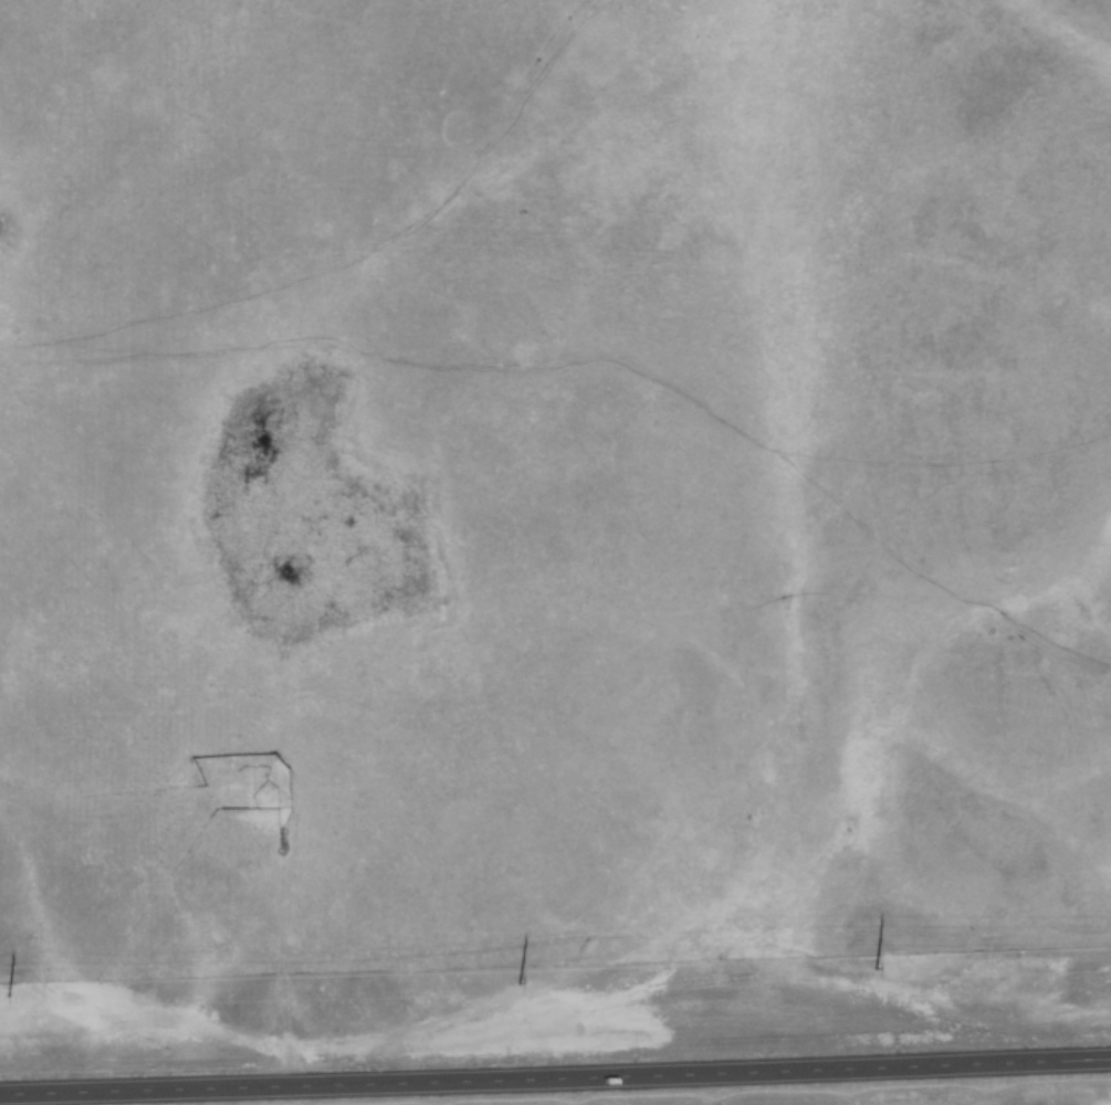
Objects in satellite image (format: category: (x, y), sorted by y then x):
power tower: (876, 967)
power tower: (518, 981)
power tower: (8, 994)
road: (555, 1080)

